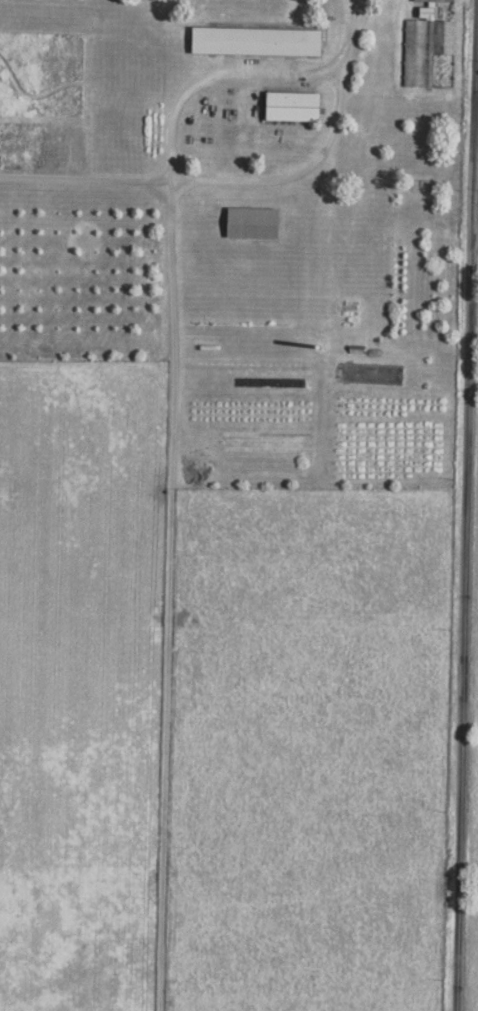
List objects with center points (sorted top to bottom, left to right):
building: (437, 0)
building: (260, 40)
building: (298, 105)
road: (246, 180)
building: (258, 222)
road: (467, 514)

